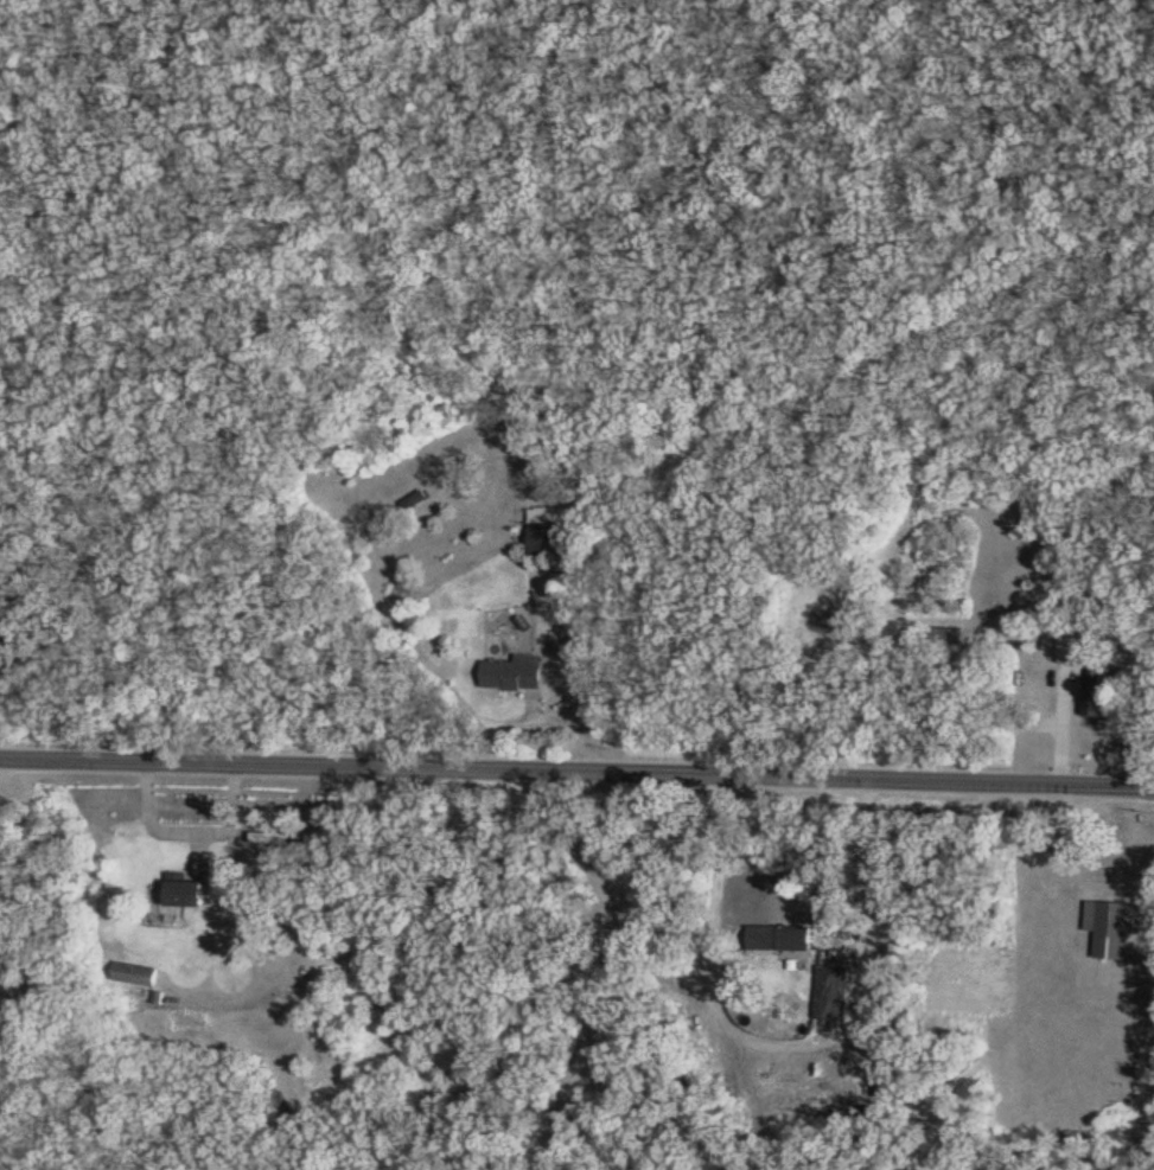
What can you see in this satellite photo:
building: (549, 532)
building: (1073, 651)
building: (517, 674)
building: (1098, 701)
road: (1, 765)
road: (576, 771)
building: (275, 838)
road: (722, 844)
building: (187, 890)
building: (783, 939)
building: (136, 976)

